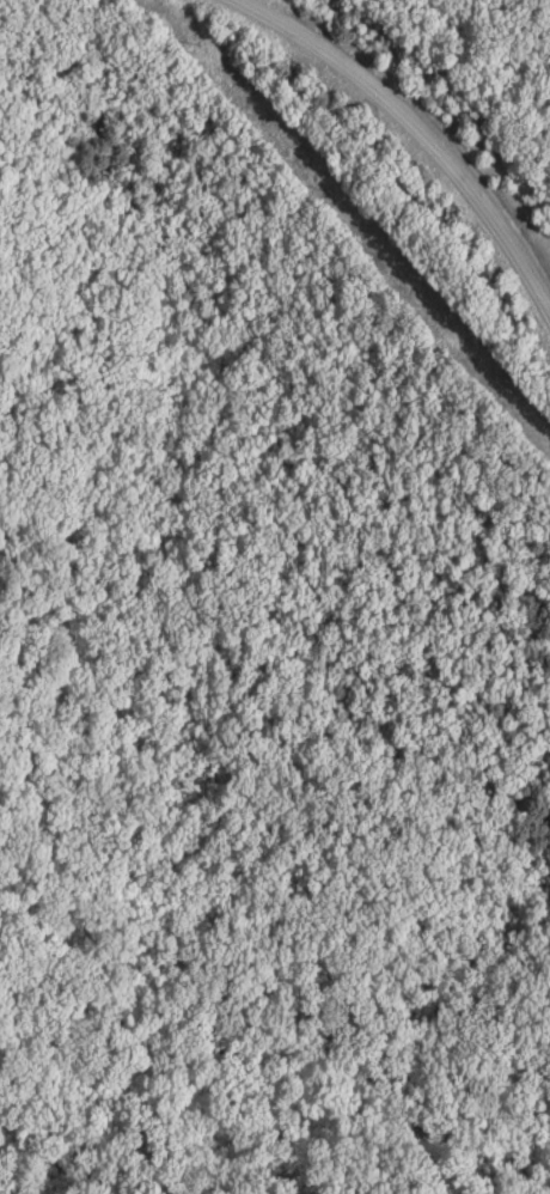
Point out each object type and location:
road: (415, 124)

